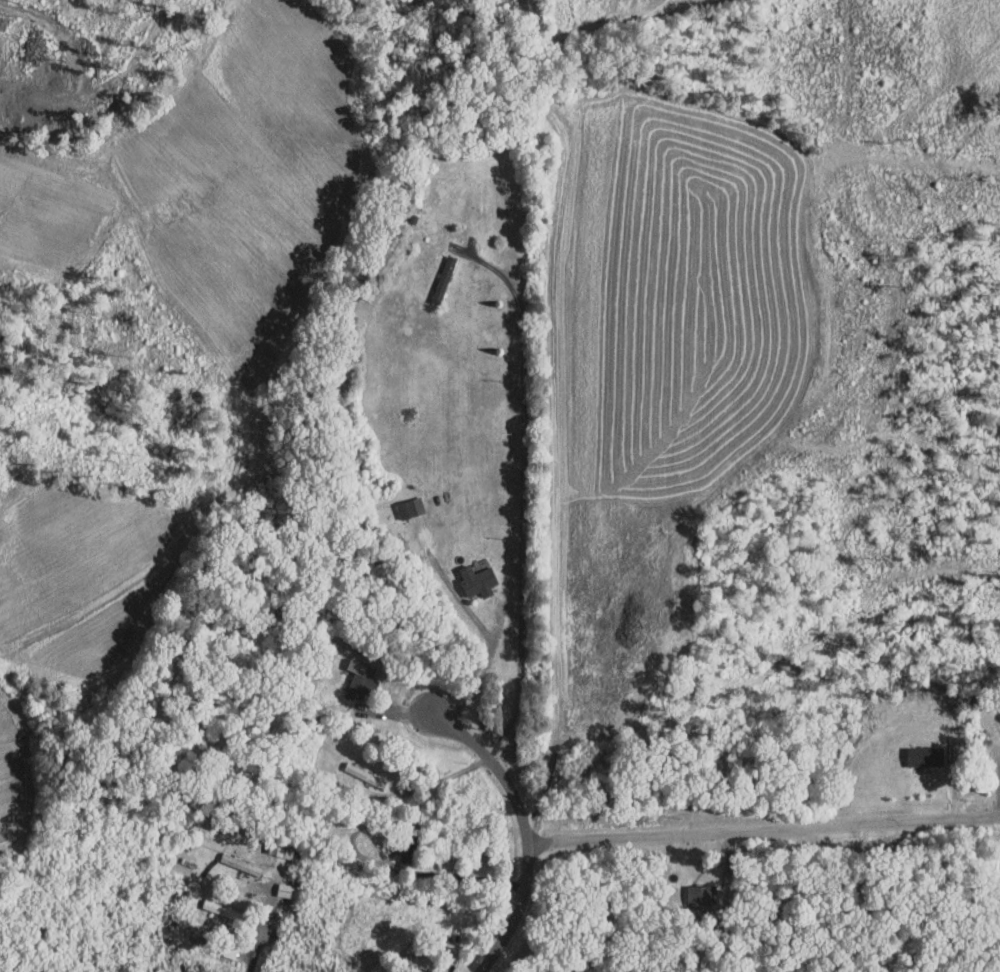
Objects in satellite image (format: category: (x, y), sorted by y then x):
building: (431, 276)
road: (523, 496)
building: (400, 501)
building: (467, 574)
road: (487, 669)
building: (350, 675)
building: (908, 750)
building: (998, 750)
road: (442, 779)
road: (763, 826)
road: (525, 830)
building: (270, 843)
building: (689, 889)
building: (998, 897)
road: (260, 927)

